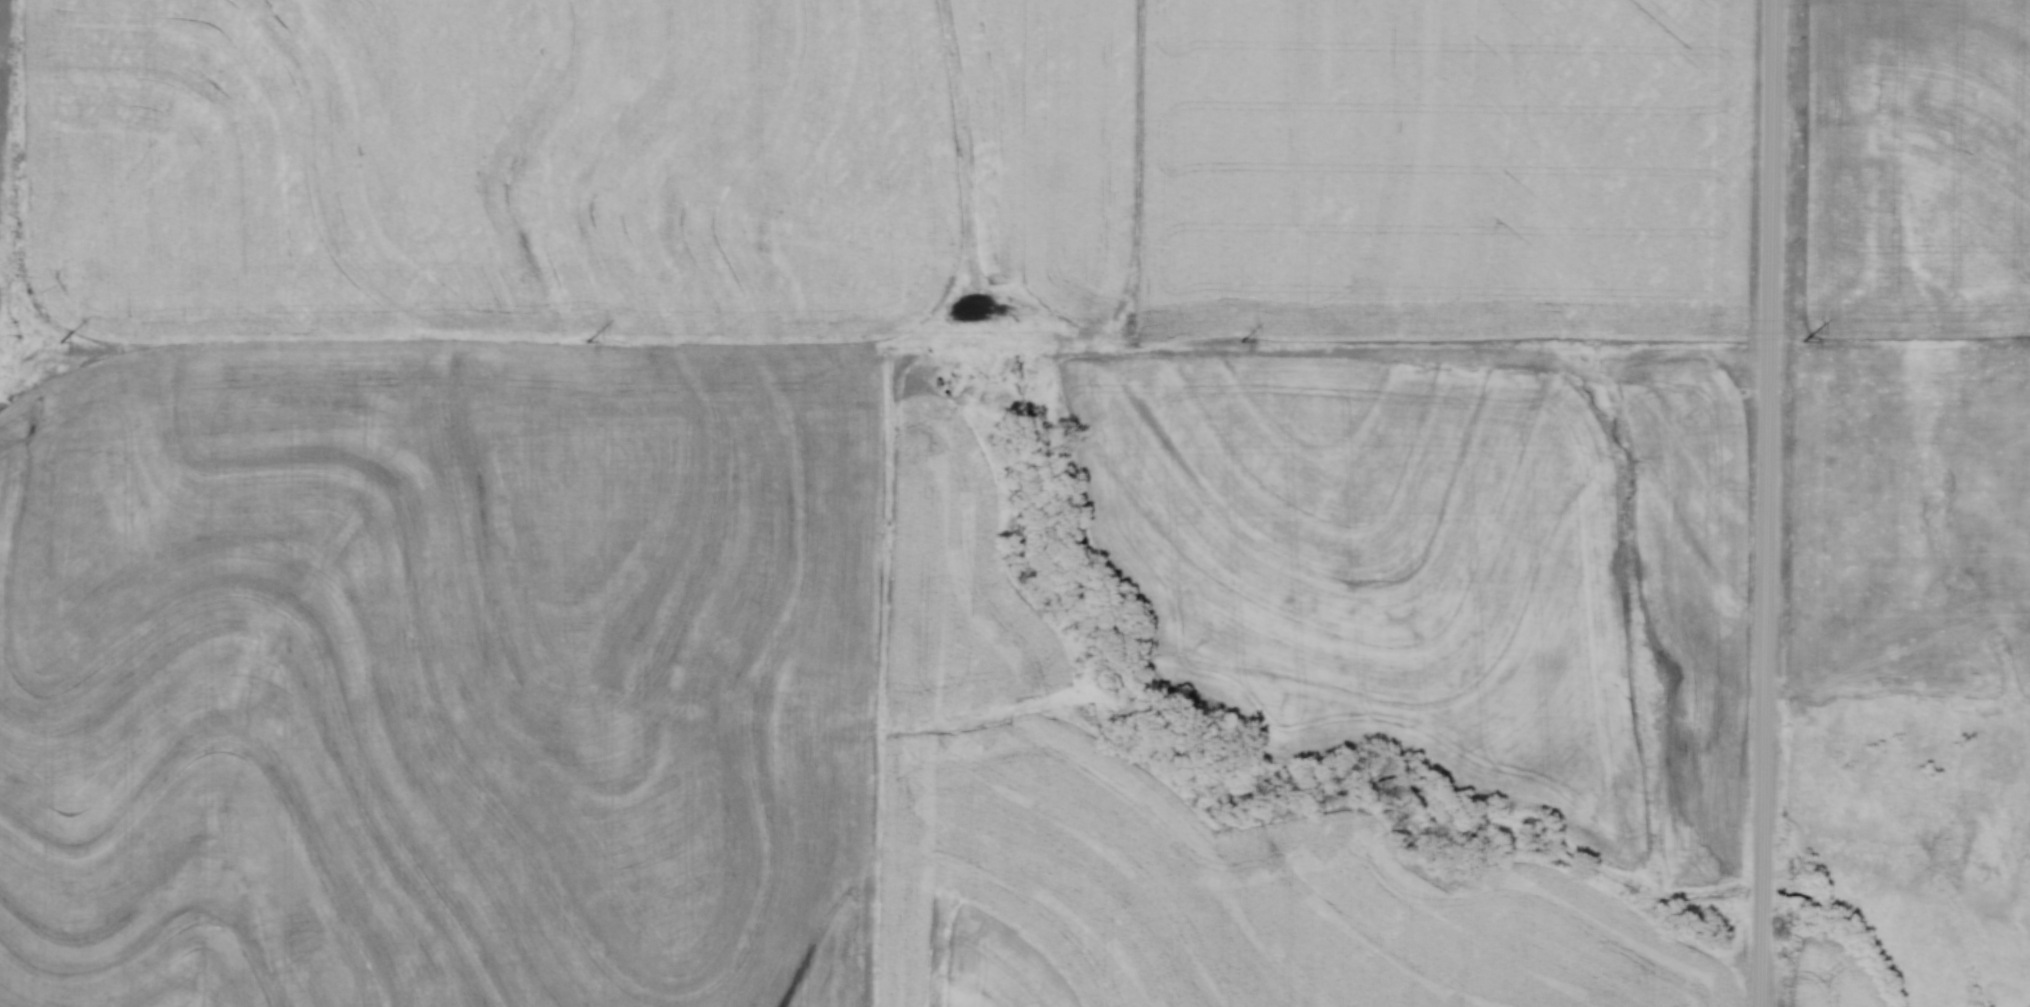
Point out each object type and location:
power tower: (1243, 340)
power tower: (60, 341)
power tower: (587, 341)
power tower: (1804, 341)
road: (1770, 503)

